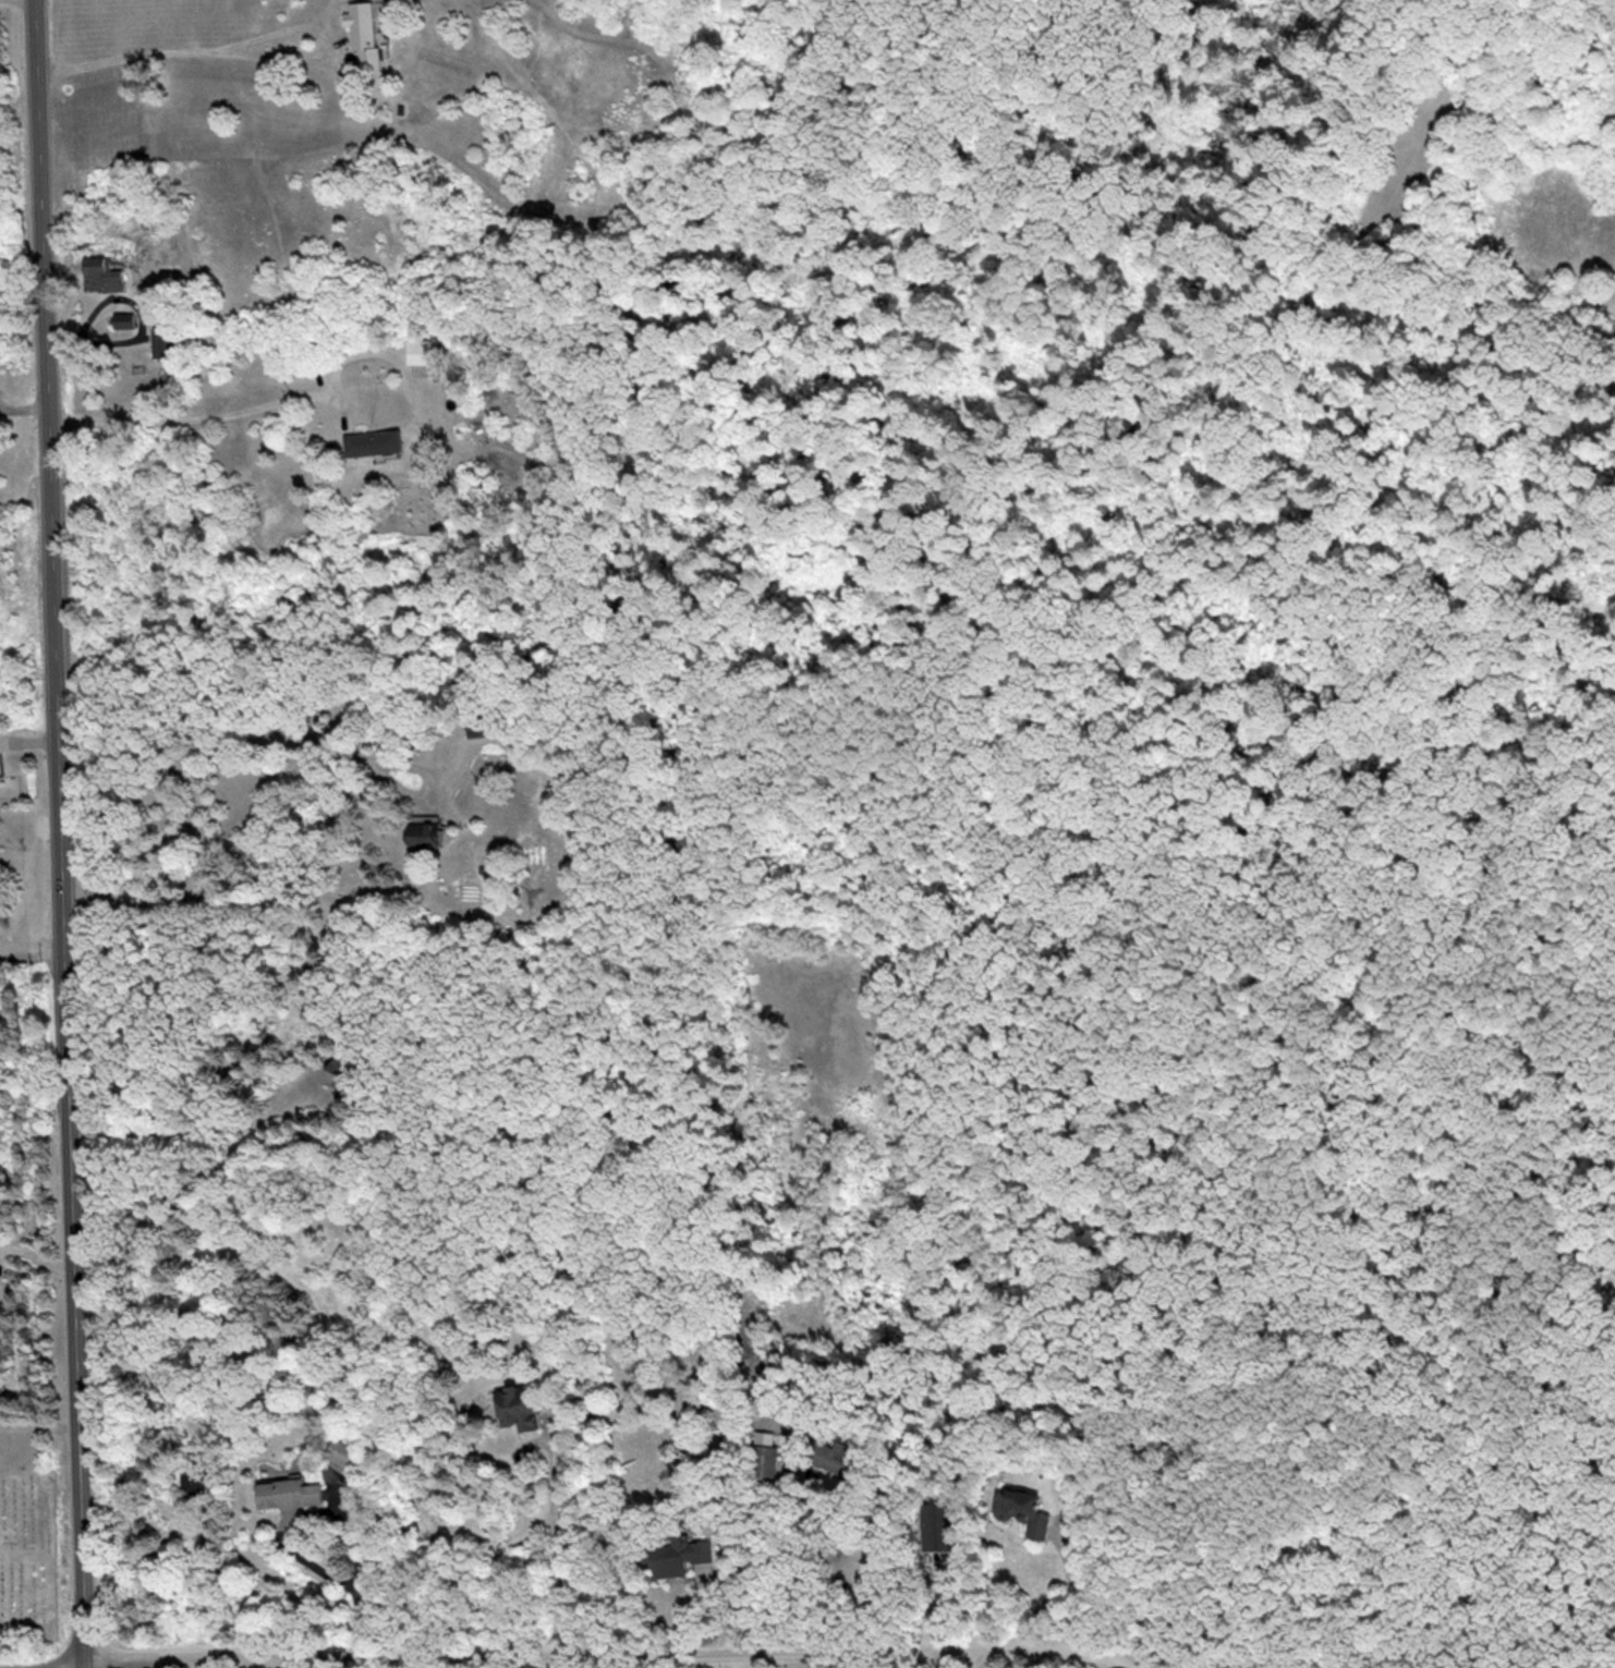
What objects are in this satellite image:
building: (366, 34)
road: (255, 54)
building: (104, 275)
building: (124, 319)
building: (165, 340)
building: (424, 351)
road: (203, 416)
building: (374, 442)
building: (482, 725)
road: (287, 730)
building: (426, 830)
road: (66, 833)
park: (1344, 1050)
building: (344, 1080)
road: (196, 1128)
road: (38, 1256)
building: (520, 1408)
road: (40, 1425)
building: (339, 1452)
building: (838, 1459)
building: (766, 1461)
building: (202, 1473)
building: (290, 1492)
road: (328, 1510)
building: (1025, 1510)
road: (559, 1532)
park: (32, 1538)
road: (20, 1551)
building: (677, 1556)
road: (799, 1571)
road: (1348, 1596)
road: (568, 1652)
road: (974, 1655)
road: (644, 1659)
road: (454, 1661)
road: (1136, 1664)

